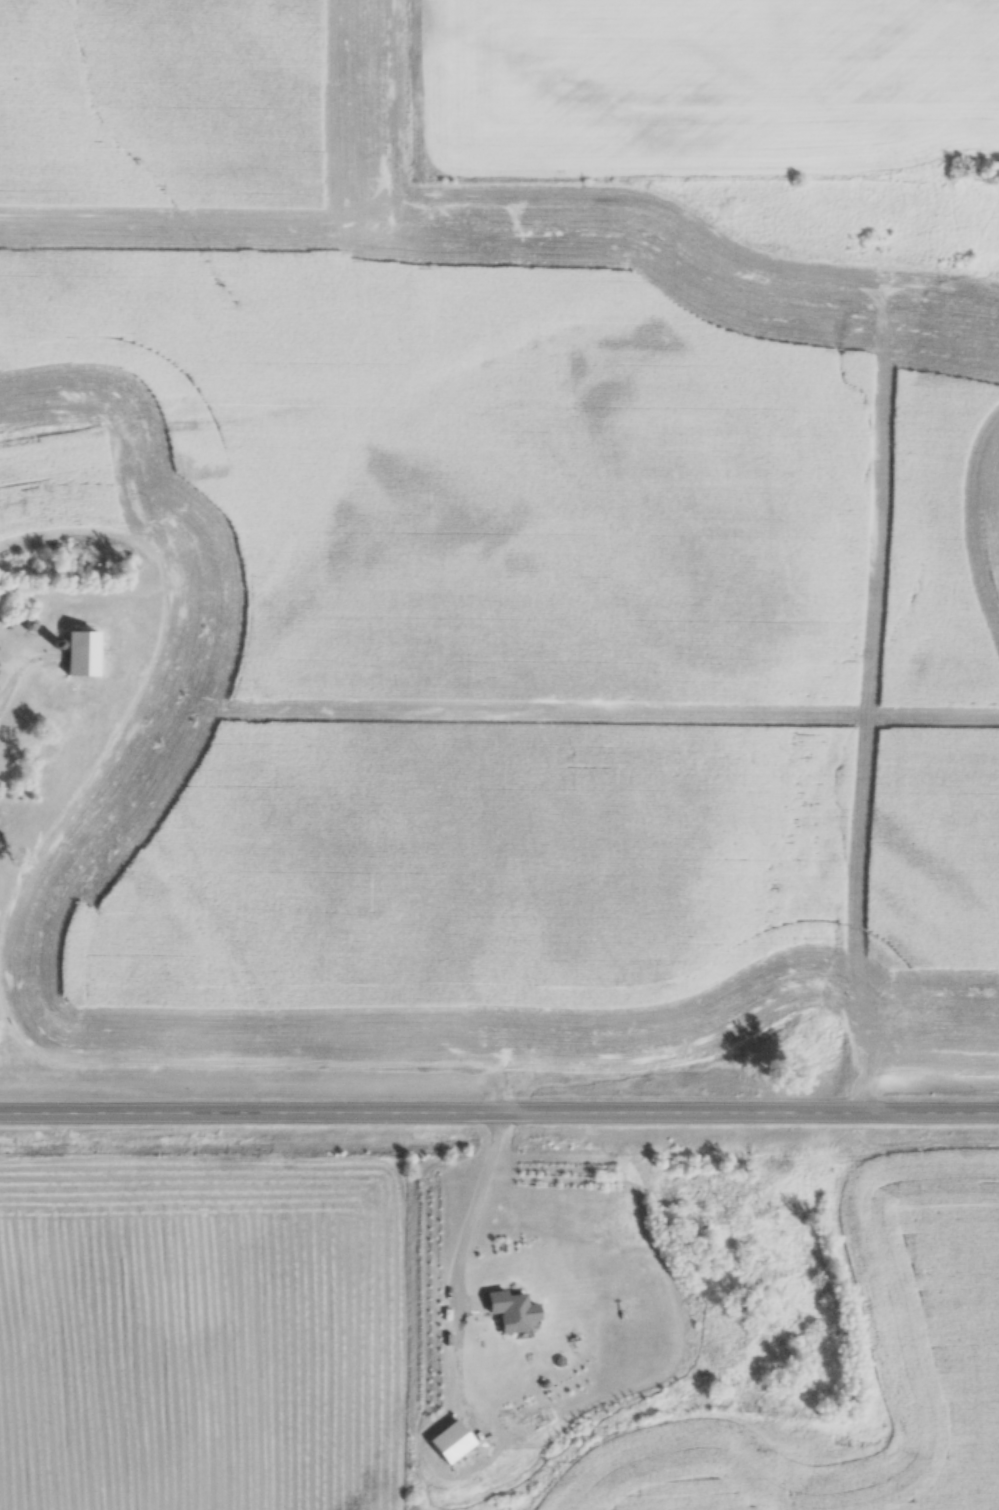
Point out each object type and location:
building: (75, 652)
road: (8, 677)
road: (499, 1107)
road: (474, 1210)
building: (499, 1309)

